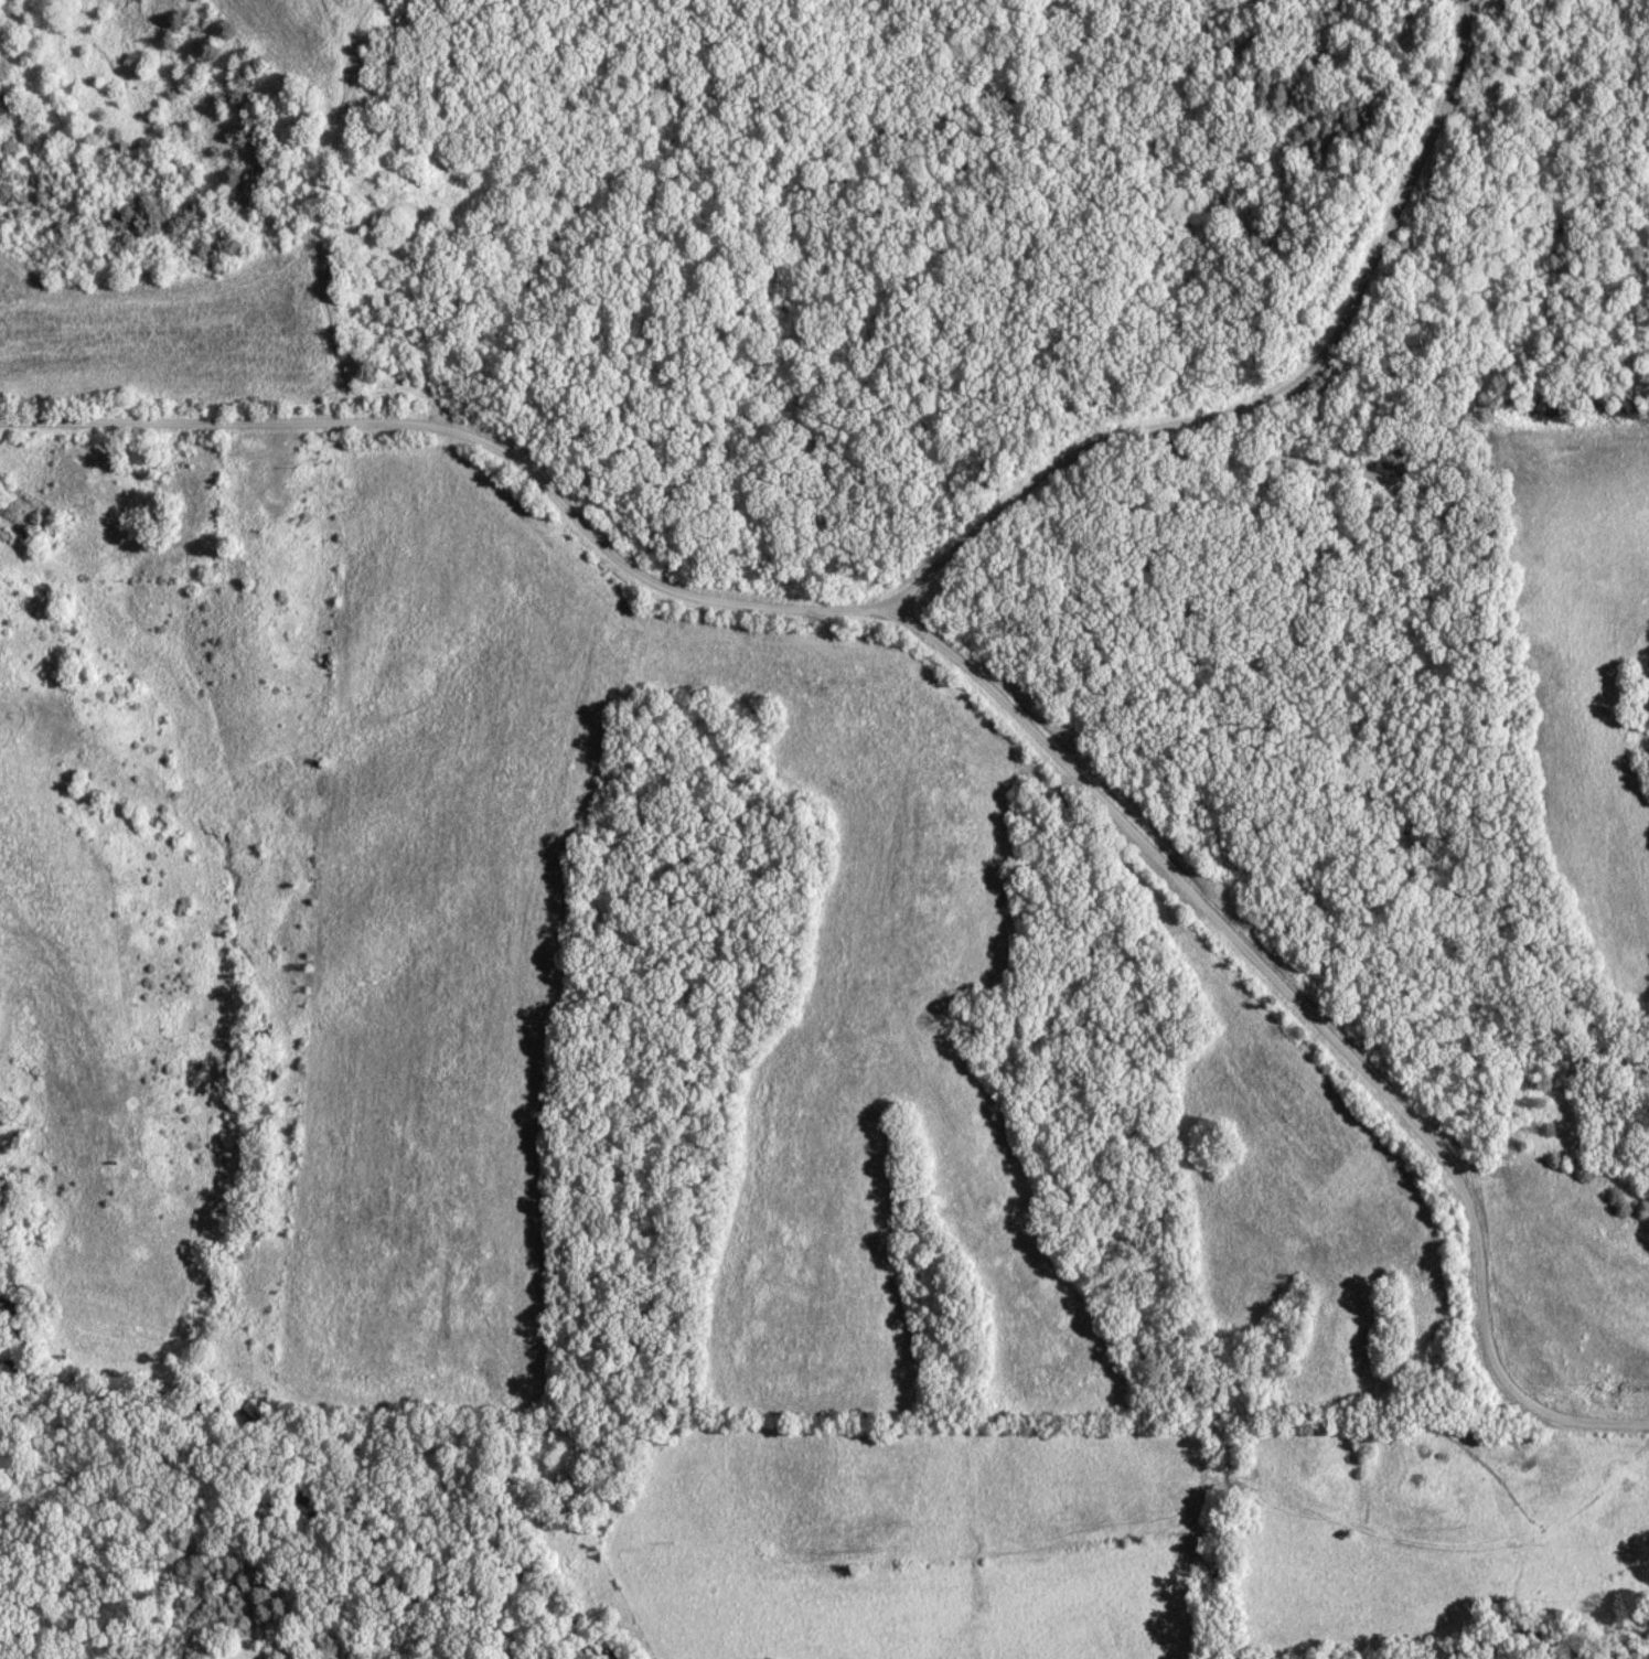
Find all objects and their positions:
road: (1267, 402)
road: (464, 447)
road: (1306, 1017)

